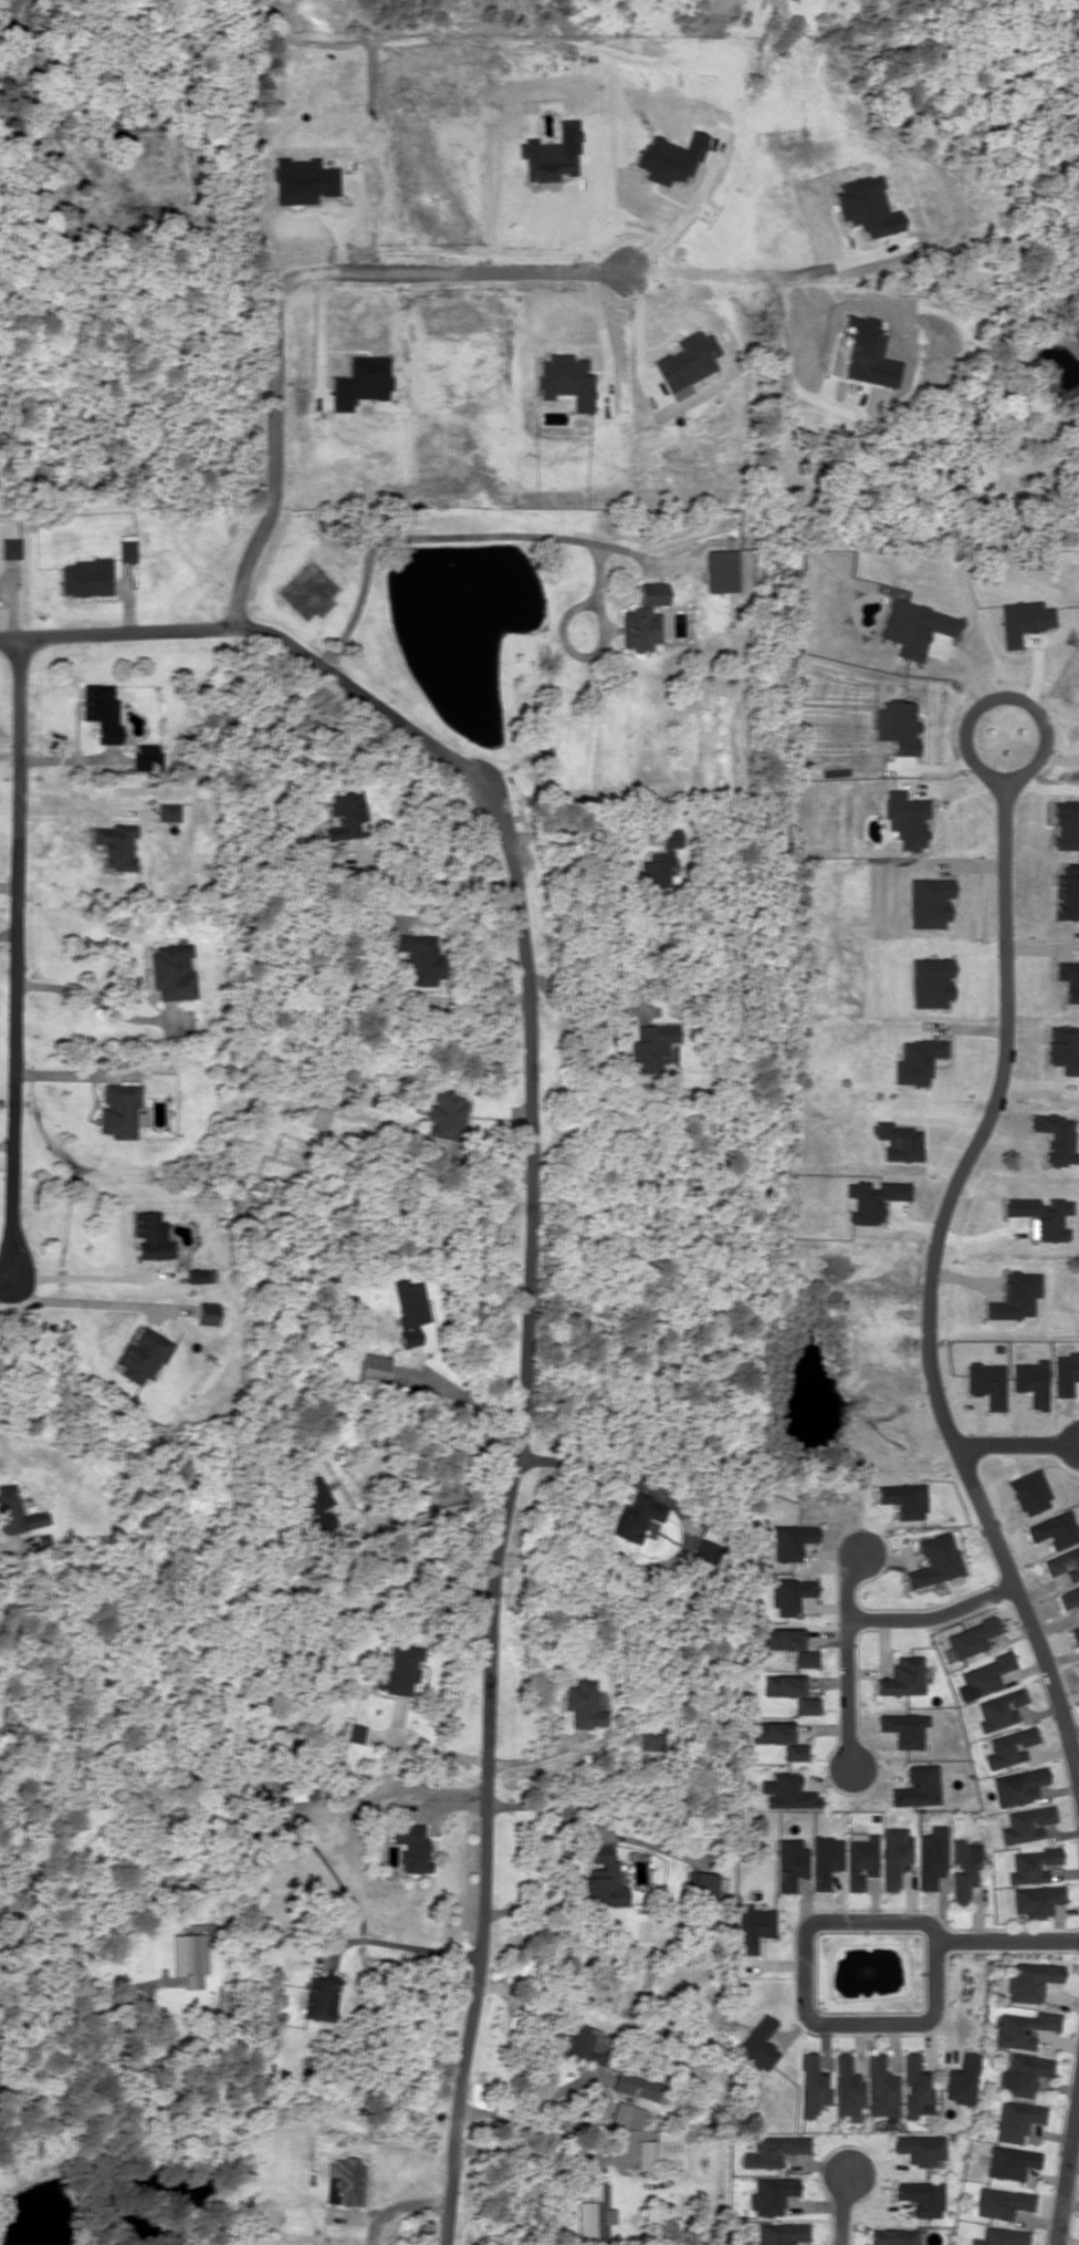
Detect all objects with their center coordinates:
building: (301, 180)
road: (284, 291)
building: (358, 382)
building: (9, 548)
building: (125, 550)
building: (729, 570)
building: (85, 576)
building: (643, 616)
building: (914, 626)
road: (1001, 701)
building: (101, 710)
building: (895, 726)
building: (174, 811)
building: (344, 814)
building: (115, 844)
building: (659, 860)
building: (1067, 892)
building: (417, 956)
road: (18, 959)
building: (171, 970)
building: (650, 1046)
building: (1062, 1048)
building: (117, 1109)
road: (522, 1112)
building: (316, 1113)
building: (446, 1115)
building: (1055, 1137)
building: (897, 1141)
building: (1041, 1216)
building: (150, 1235)
building: (199, 1275)
road: (929, 1293)
building: (409, 1309)
building: (206, 1317)
building: (143, 1354)
building: (373, 1366)
building: (1065, 1372)
building: (1031, 1381)
building: (987, 1382)
road: (1018, 1447)
building: (901, 1498)
building: (313, 1503)
building: (15, 1511)
building: (637, 1516)
building: (1054, 1529)
building: (712, 1532)
building: (789, 1540)
road: (8, 1546)
building: (702, 1555)
building: (933, 1560)
building: (1064, 1562)
building: (790, 1593)
building: (1069, 1597)
road: (933, 1619)
building: (1075, 1635)
building: (971, 1636)
building: (781, 1638)
building: (806, 1657)
road: (847, 1660)
building: (398, 1669)
building: (986, 1674)
building: (903, 1676)
building: (781, 1685)
building: (583, 1704)
building: (805, 1705)
building: (999, 1708)
building: (904, 1728)
building: (350, 1732)
building: (769, 1732)
building: (649, 1739)
building: (1009, 1746)
building: (794, 1750)
building: (301, 1784)
building: (918, 1786)
building: (1017, 1786)
building: (787, 1791)
building: (1026, 1823)
building: (410, 1847)
building: (893, 1854)
building: (930, 1857)
building: (860, 1858)
building: (825, 1860)
building: (789, 1862)
building: (1031, 1864)
building: (963, 1869)
building: (601, 1882)
building: (705, 1887)
building: (1036, 1900)
building: (753, 1926)
road: (1006, 1942)
building: (188, 1958)
building: (1028, 1979)
building: (319, 1997)
road: (808, 2003)
building: (1022, 2028)
building: (582, 2044)
building: (757, 2044)
building: (1023, 2072)
building: (961, 2079)
building: (810, 2085)
building: (845, 2086)
building: (879, 2086)
building: (914, 2087)
building: (636, 2088)
road: (454, 2109)
building: (625, 2116)
building: (1015, 2119)
building: (918, 2148)
building: (659, 2150)
building: (772, 2150)
building: (1009, 2161)
road: (1067, 2170)
building: (342, 2181)
building: (769, 2194)
building: (921, 2196)
building: (1001, 2202)
road: (844, 2207)
building: (593, 2214)
building: (779, 2233)
building: (893, 2236)
building: (1001, 2236)

